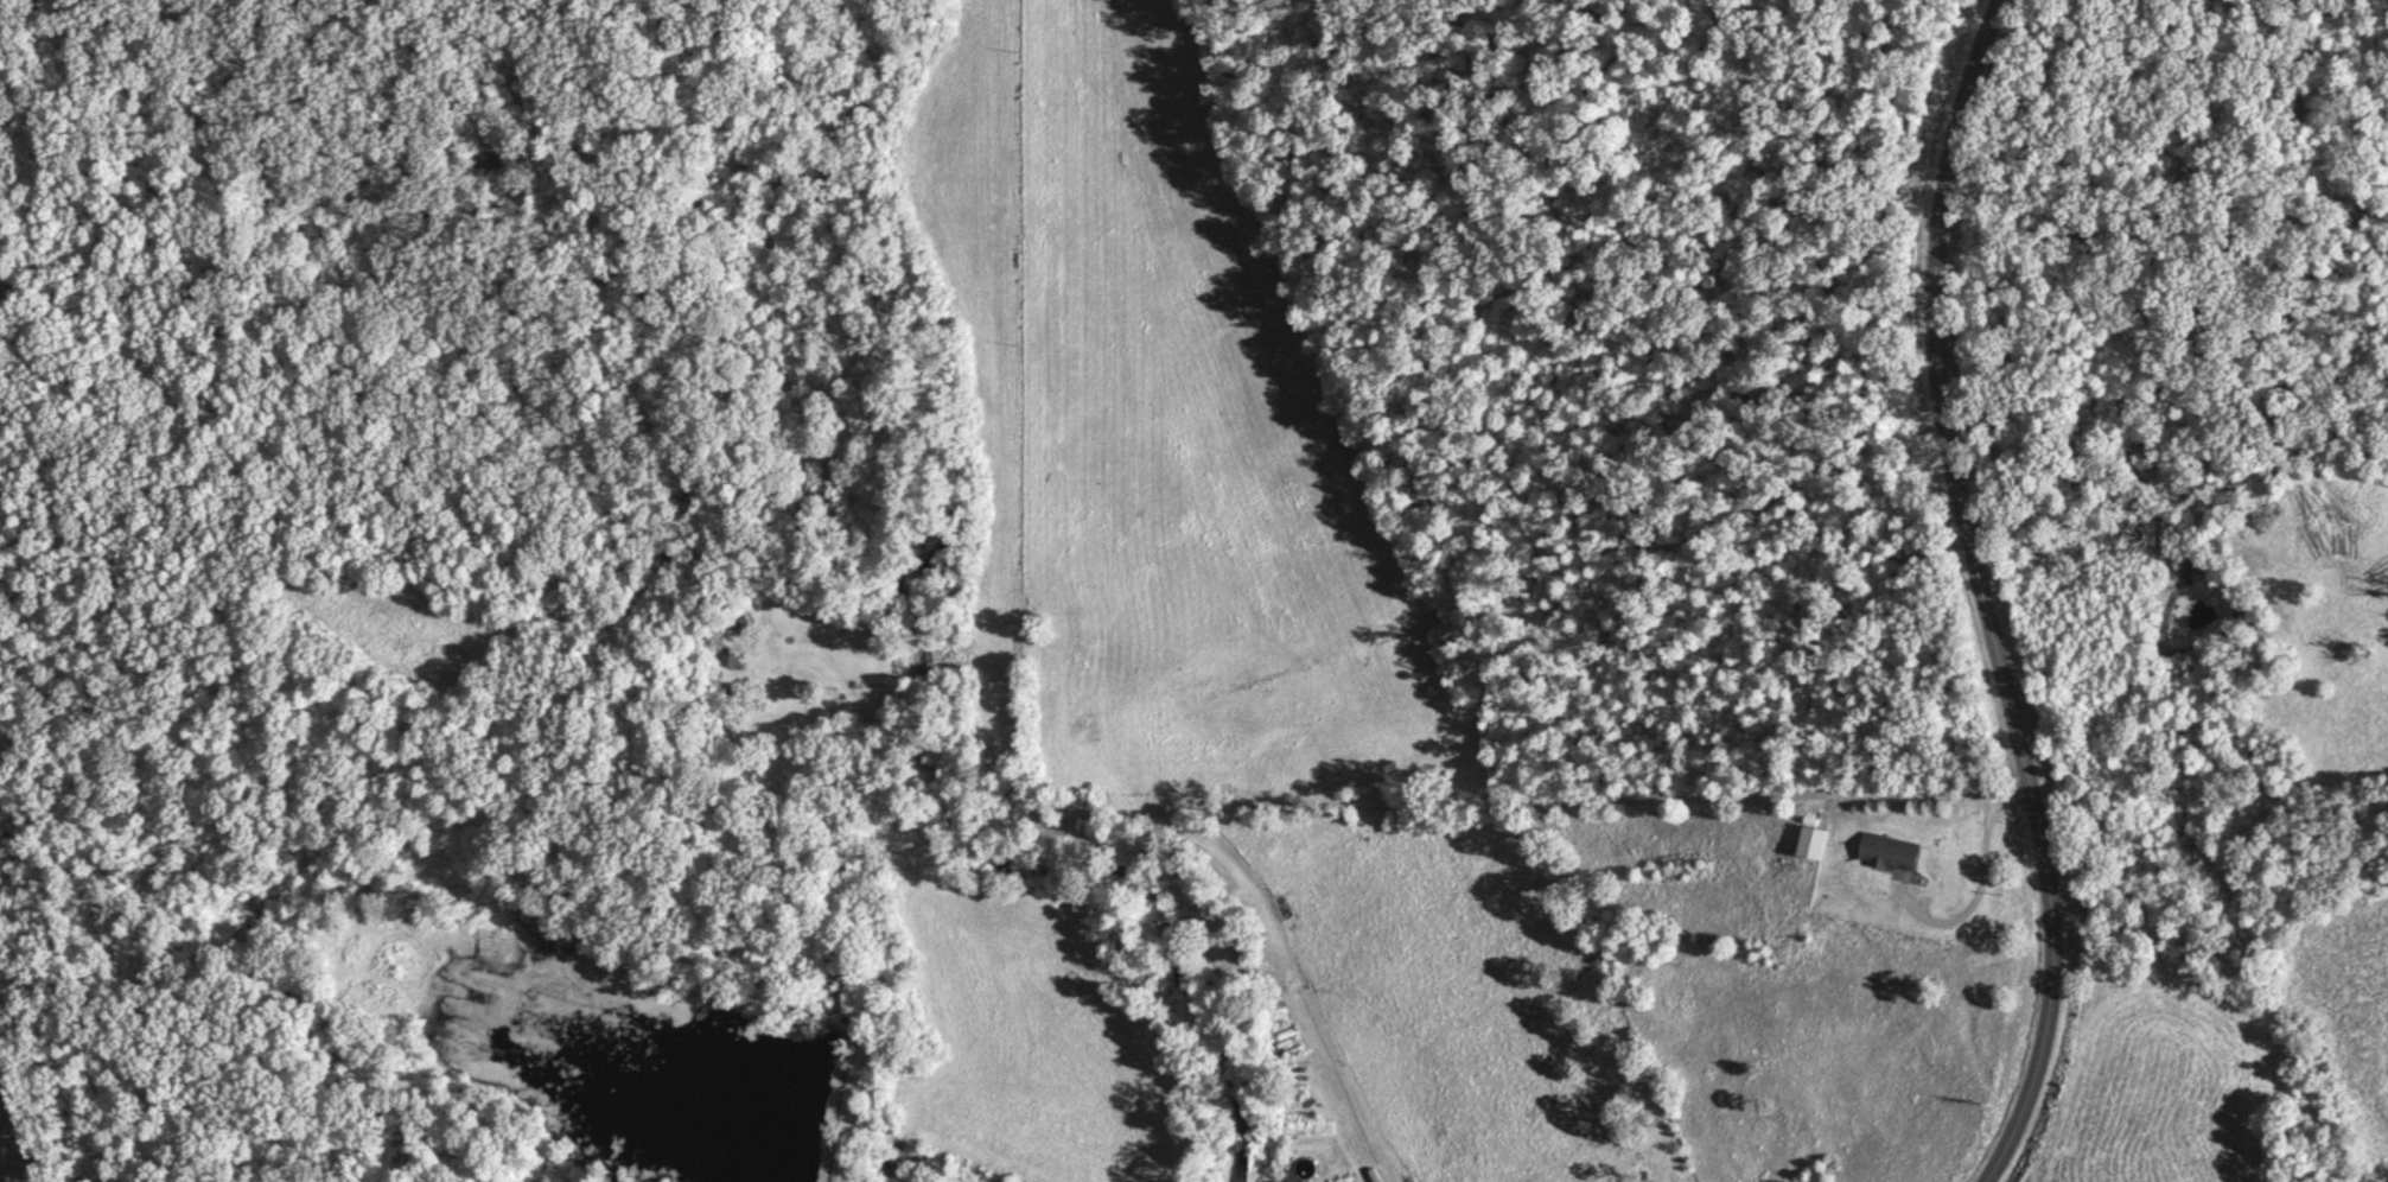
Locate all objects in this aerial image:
road: (1986, 398)
building: (731, 657)
road: (1394, 813)
building: (1811, 843)
building: (1889, 851)
road: (1970, 908)
road: (2044, 993)

